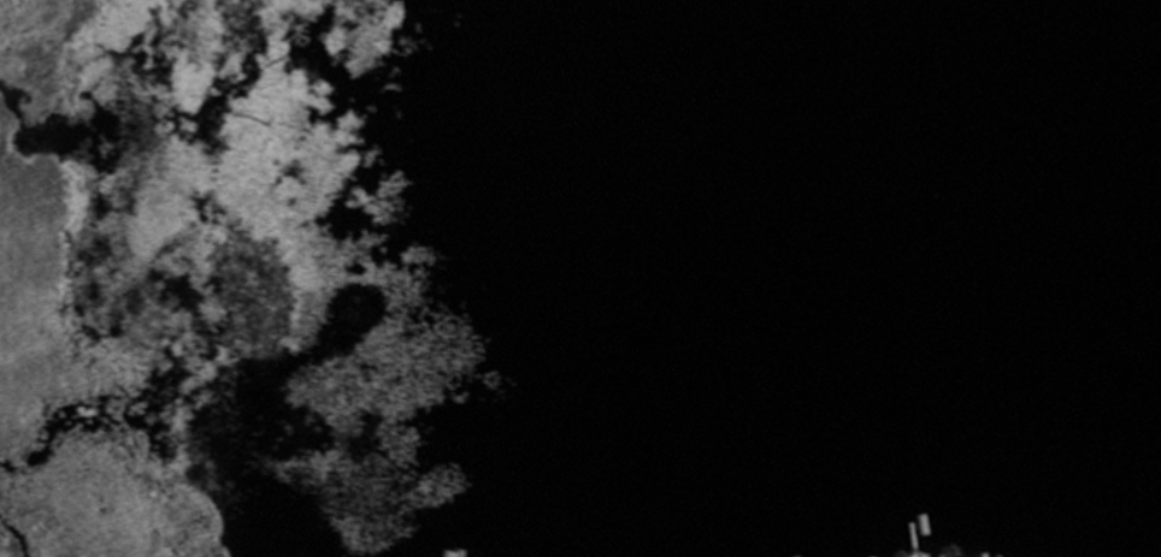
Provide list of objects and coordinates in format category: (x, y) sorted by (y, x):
building: (926, 529)

